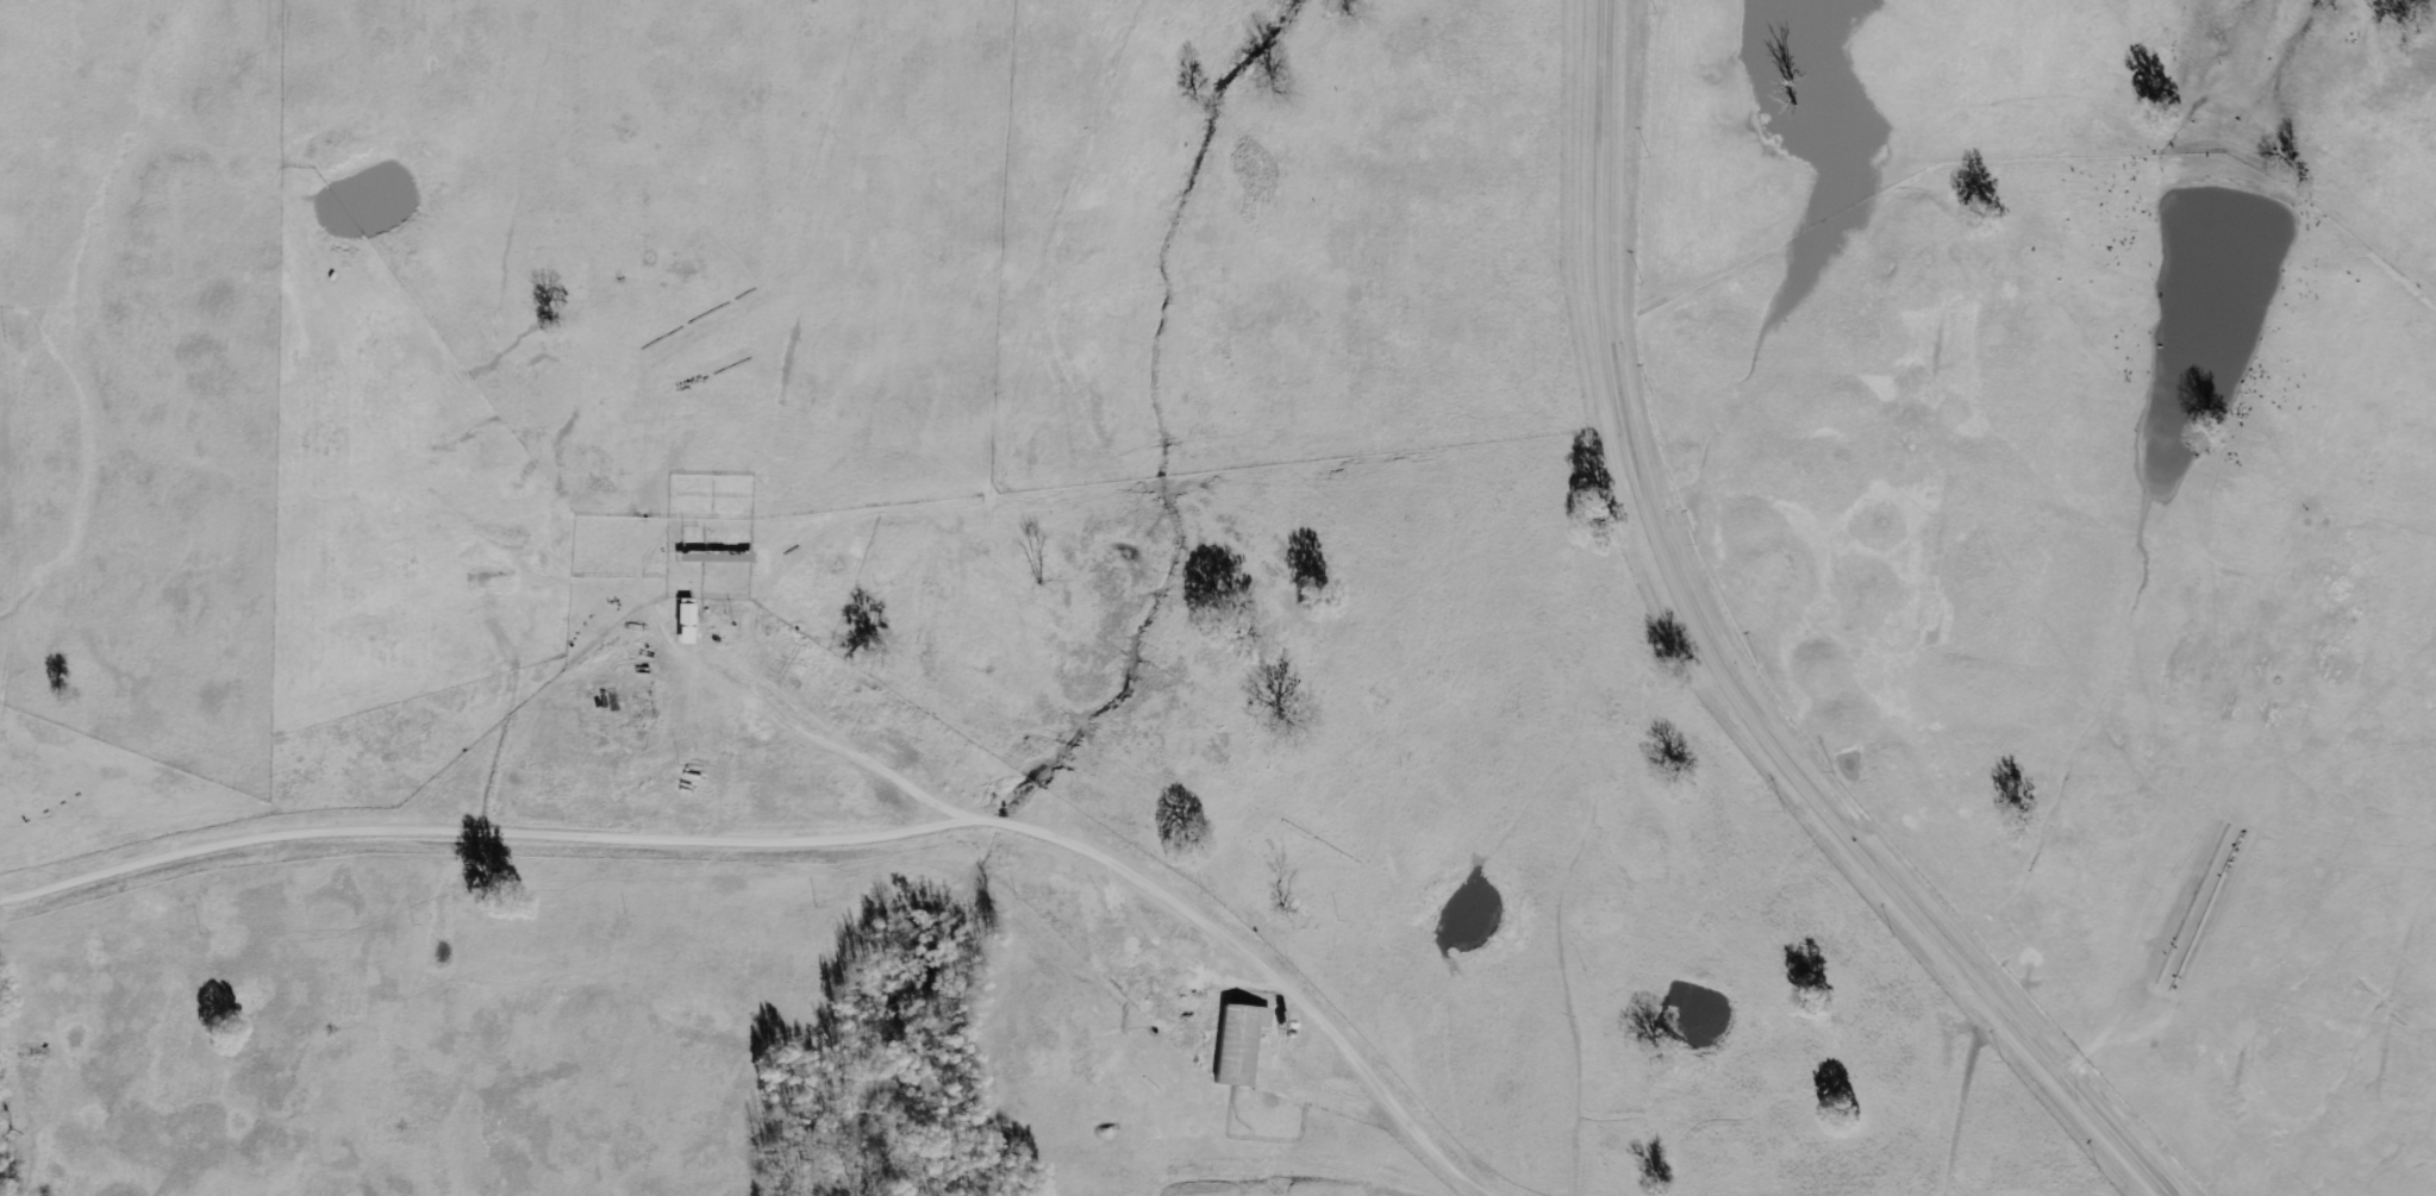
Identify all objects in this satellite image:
road: (1722, 668)
road: (811, 843)
road: (1988, 998)
building: (1239, 1044)

